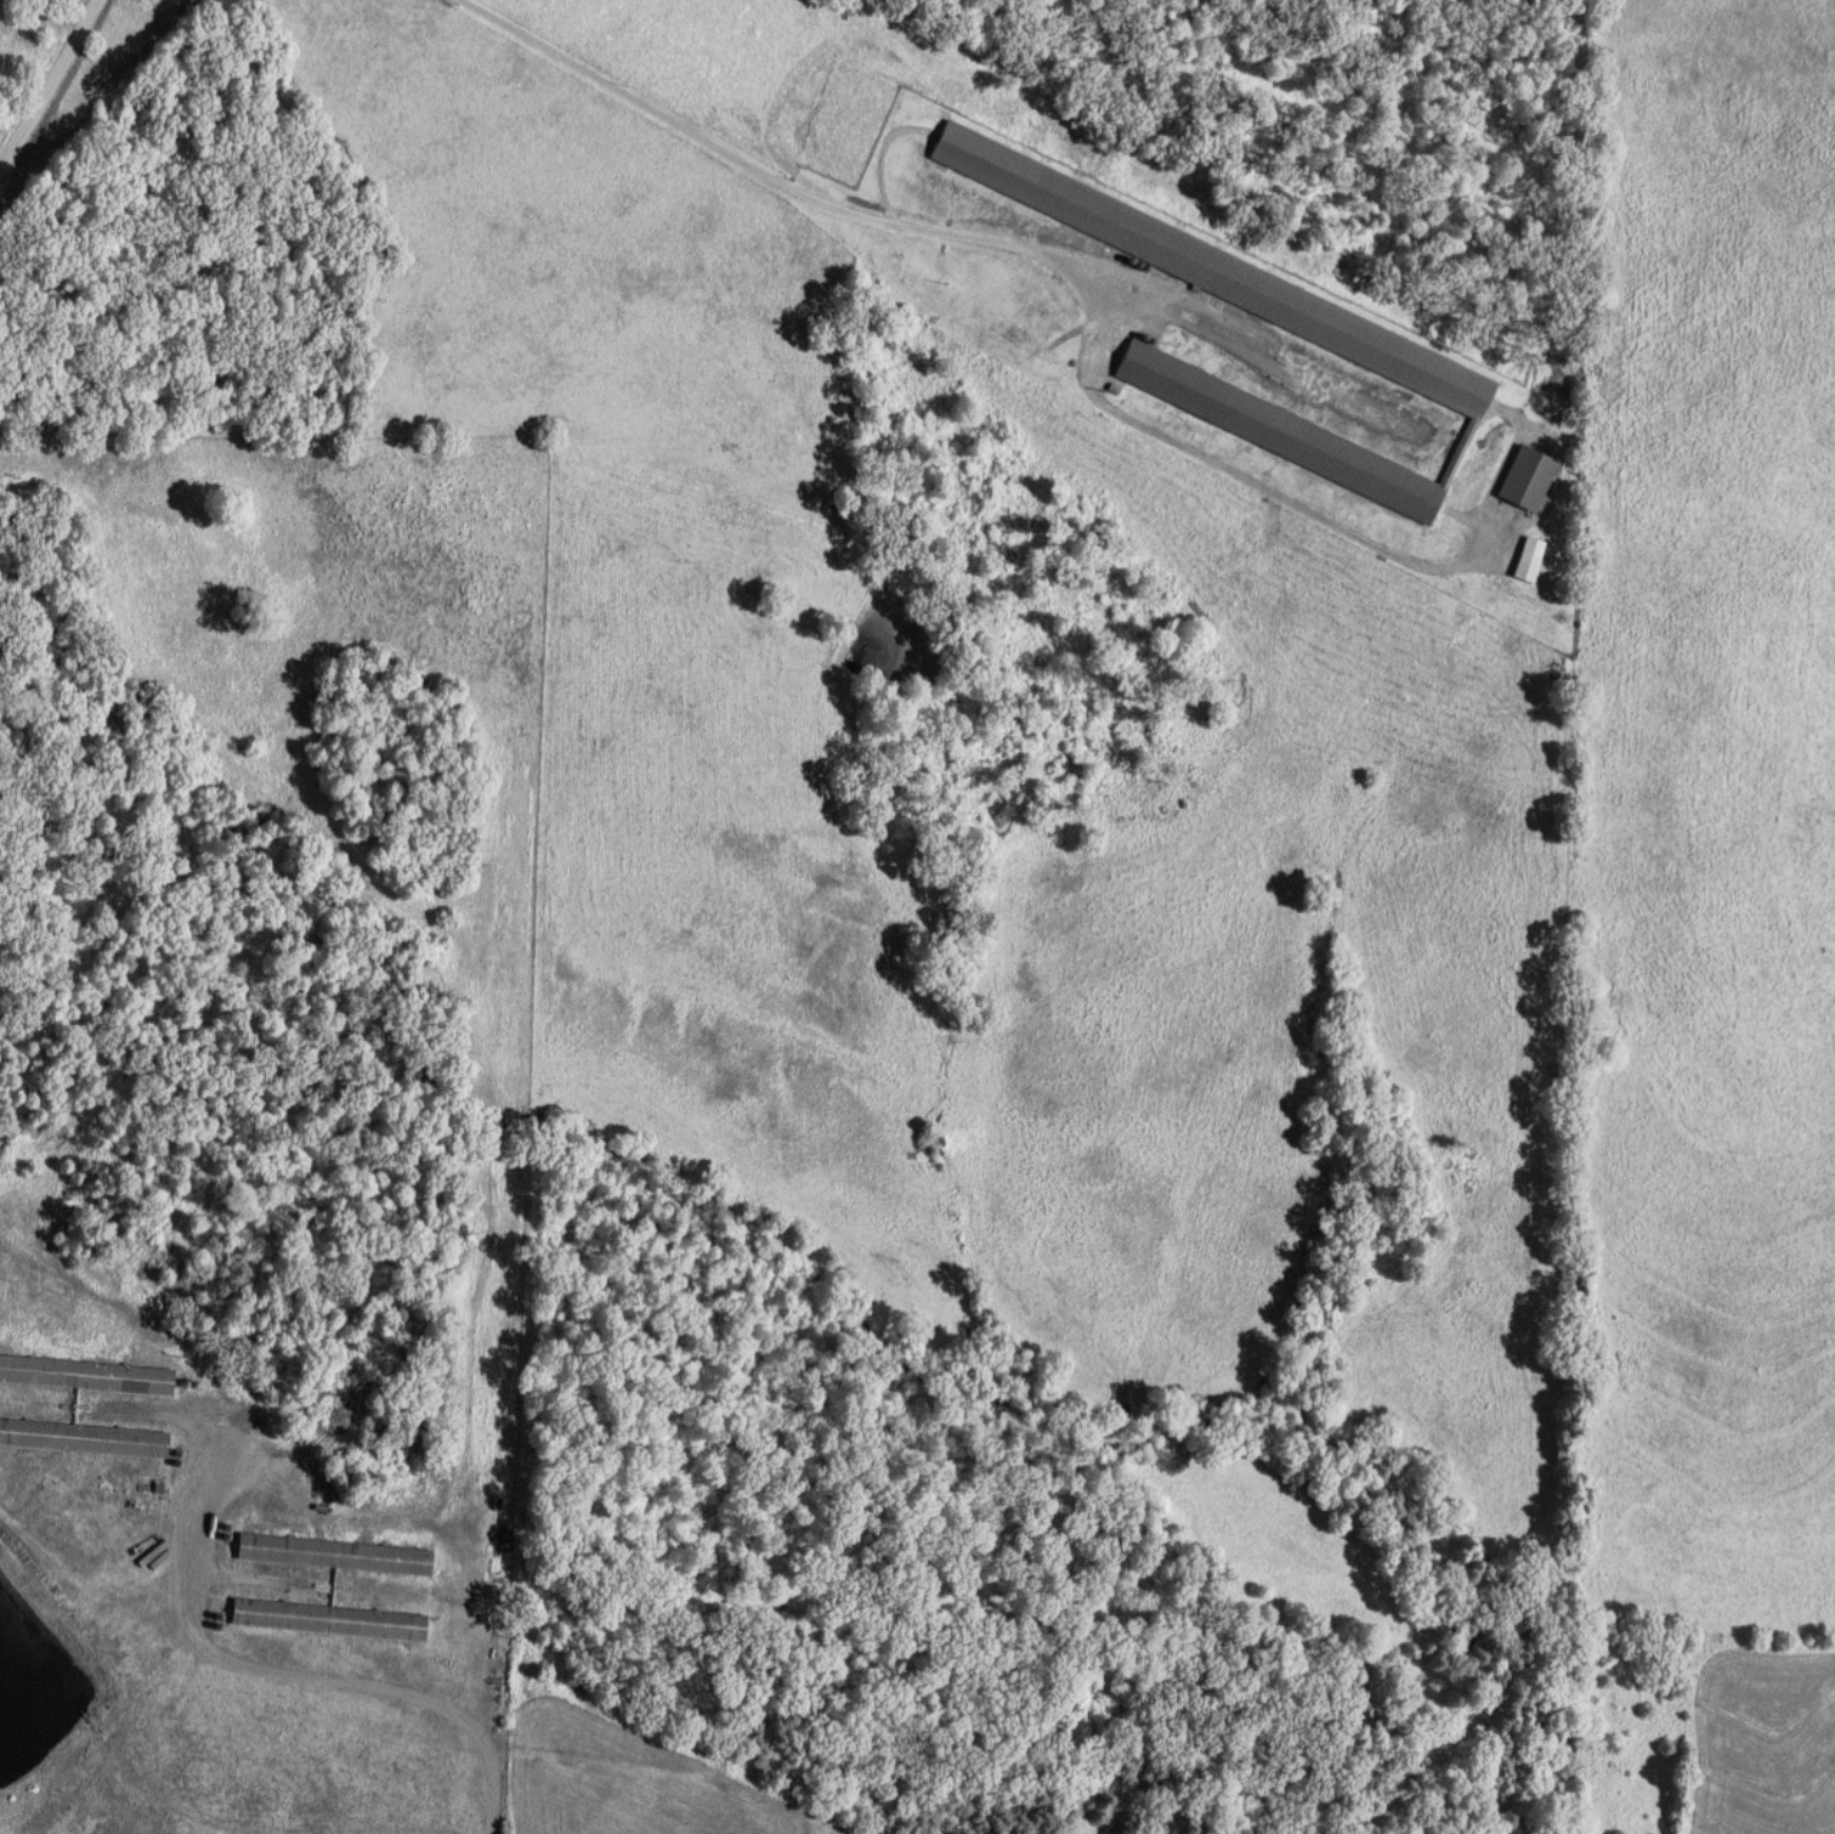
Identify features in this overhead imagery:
road: (49, 85)
road: (770, 175)
building: (1118, 225)
building: (1403, 361)
building: (1286, 432)
building: (1527, 479)
building: (1529, 559)
building: (85, 1375)
building: (84, 1437)
building: (335, 1555)
building: (329, 1619)
road: (402, 1698)

